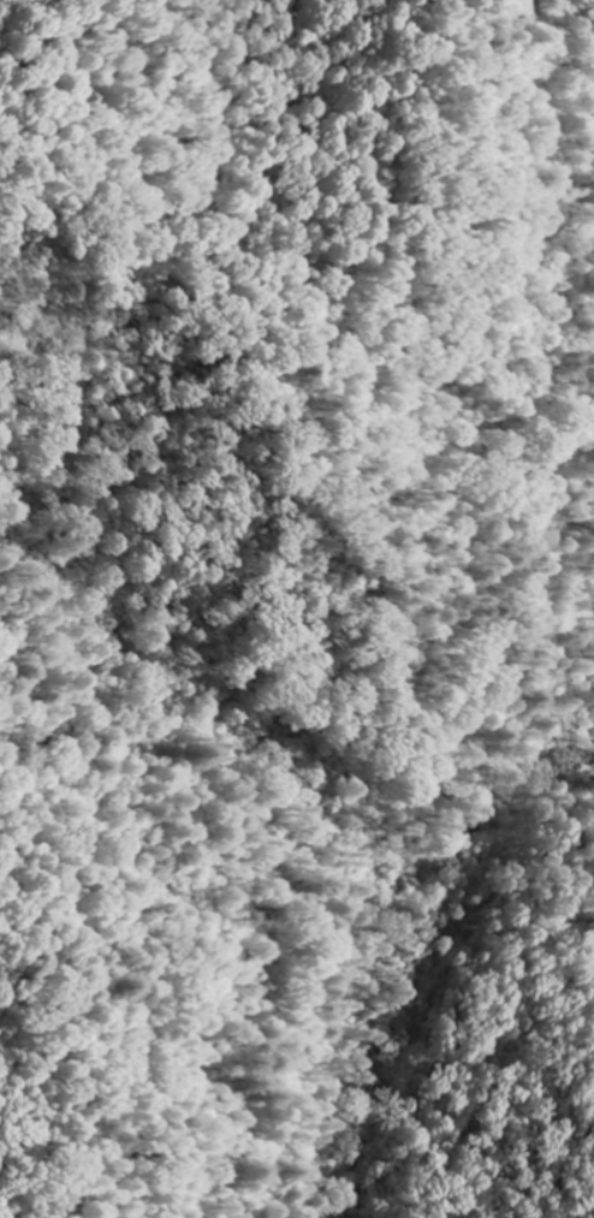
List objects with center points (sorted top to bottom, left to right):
road: (523, 760)

